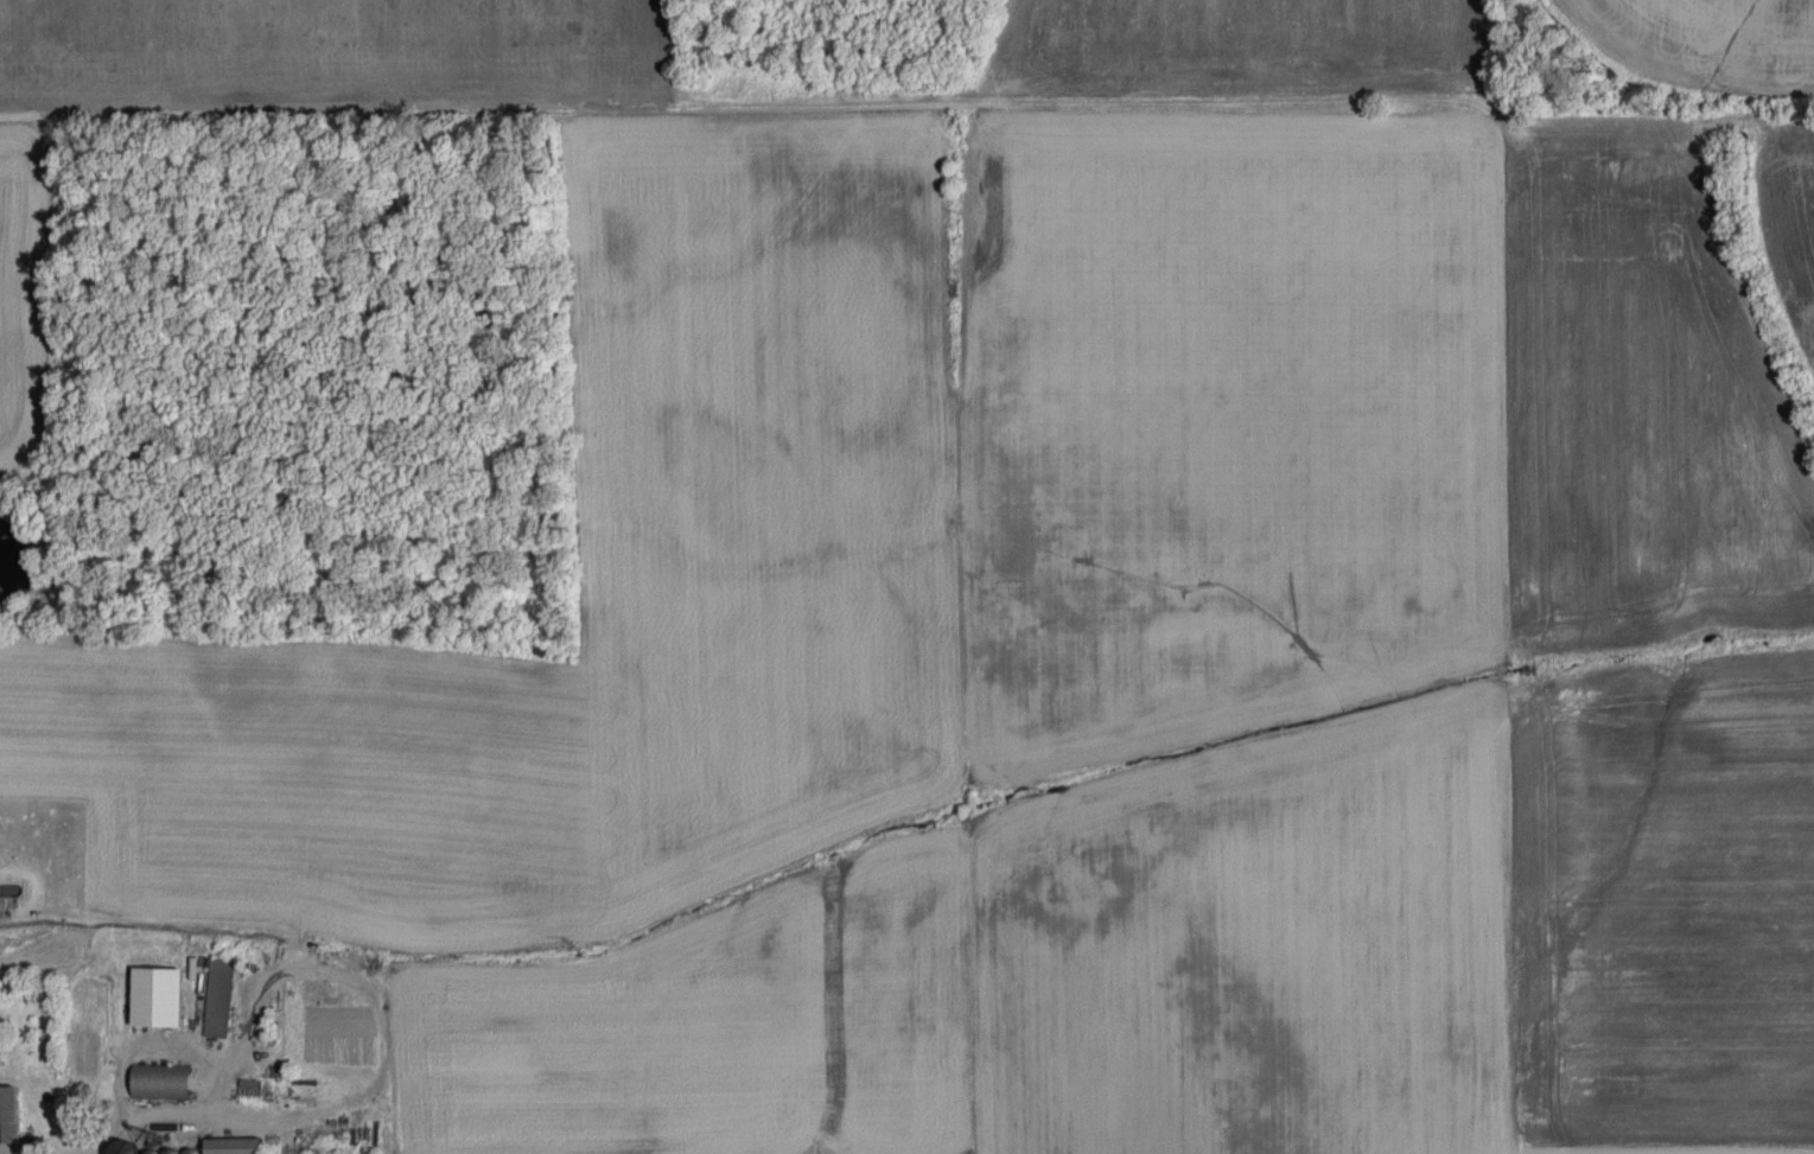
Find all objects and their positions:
building: (163, 995)
building: (221, 996)
building: (1, 1057)
building: (165, 1079)
building: (12, 1112)
road: (155, 1133)
building: (240, 1145)

